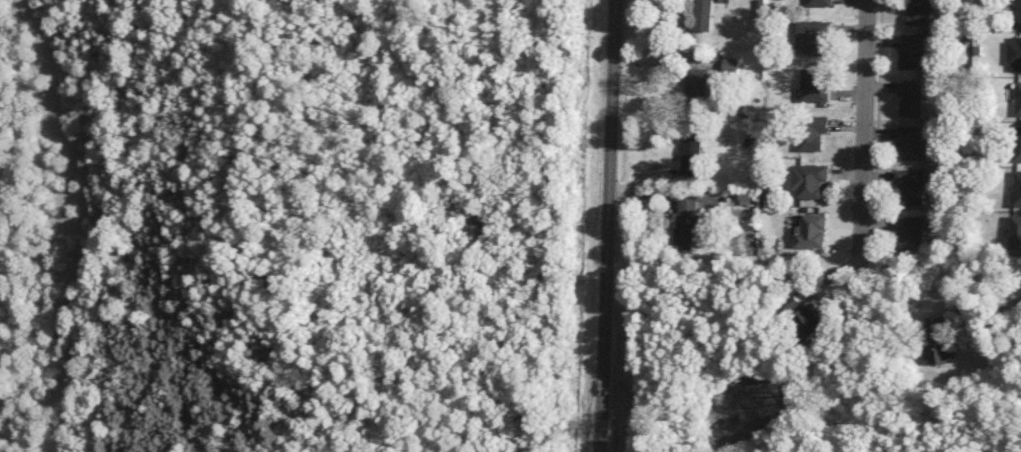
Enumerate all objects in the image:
building: (819, 3)
building: (919, 12)
building: (1019, 13)
building: (703, 15)
building: (812, 38)
building: (912, 51)
building: (1014, 54)
building: (731, 66)
building: (704, 79)
building: (814, 86)
building: (911, 98)
building: (1018, 99)
building: (813, 132)
road: (866, 132)
building: (911, 143)
building: (1017, 144)
building: (693, 155)
building: (809, 180)
building: (911, 186)
building: (1018, 188)
building: (688, 222)
road: (608, 226)
building: (812, 231)
building: (911, 232)
building: (1016, 232)
road: (1001, 301)
building: (792, 304)
building: (810, 321)
building: (939, 341)

